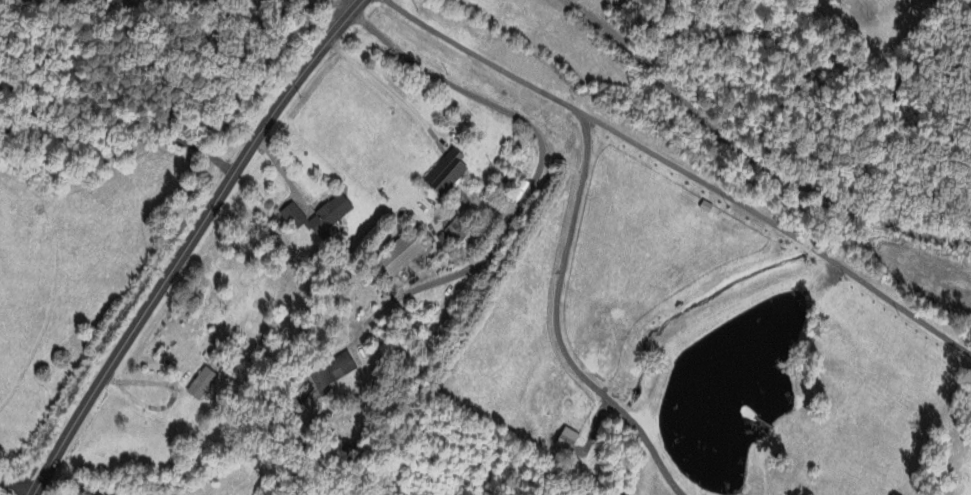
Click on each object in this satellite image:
road: (181, 13)
road: (385, 87)
road: (754, 150)
road: (538, 167)
road: (682, 172)
building: (447, 174)
building: (319, 217)
road: (187, 244)
building: (402, 256)
road: (552, 324)
building: (333, 373)
building: (202, 385)
building: (567, 440)
building: (350, 449)
road: (380, 450)
road: (135, 483)
road: (11, 490)

